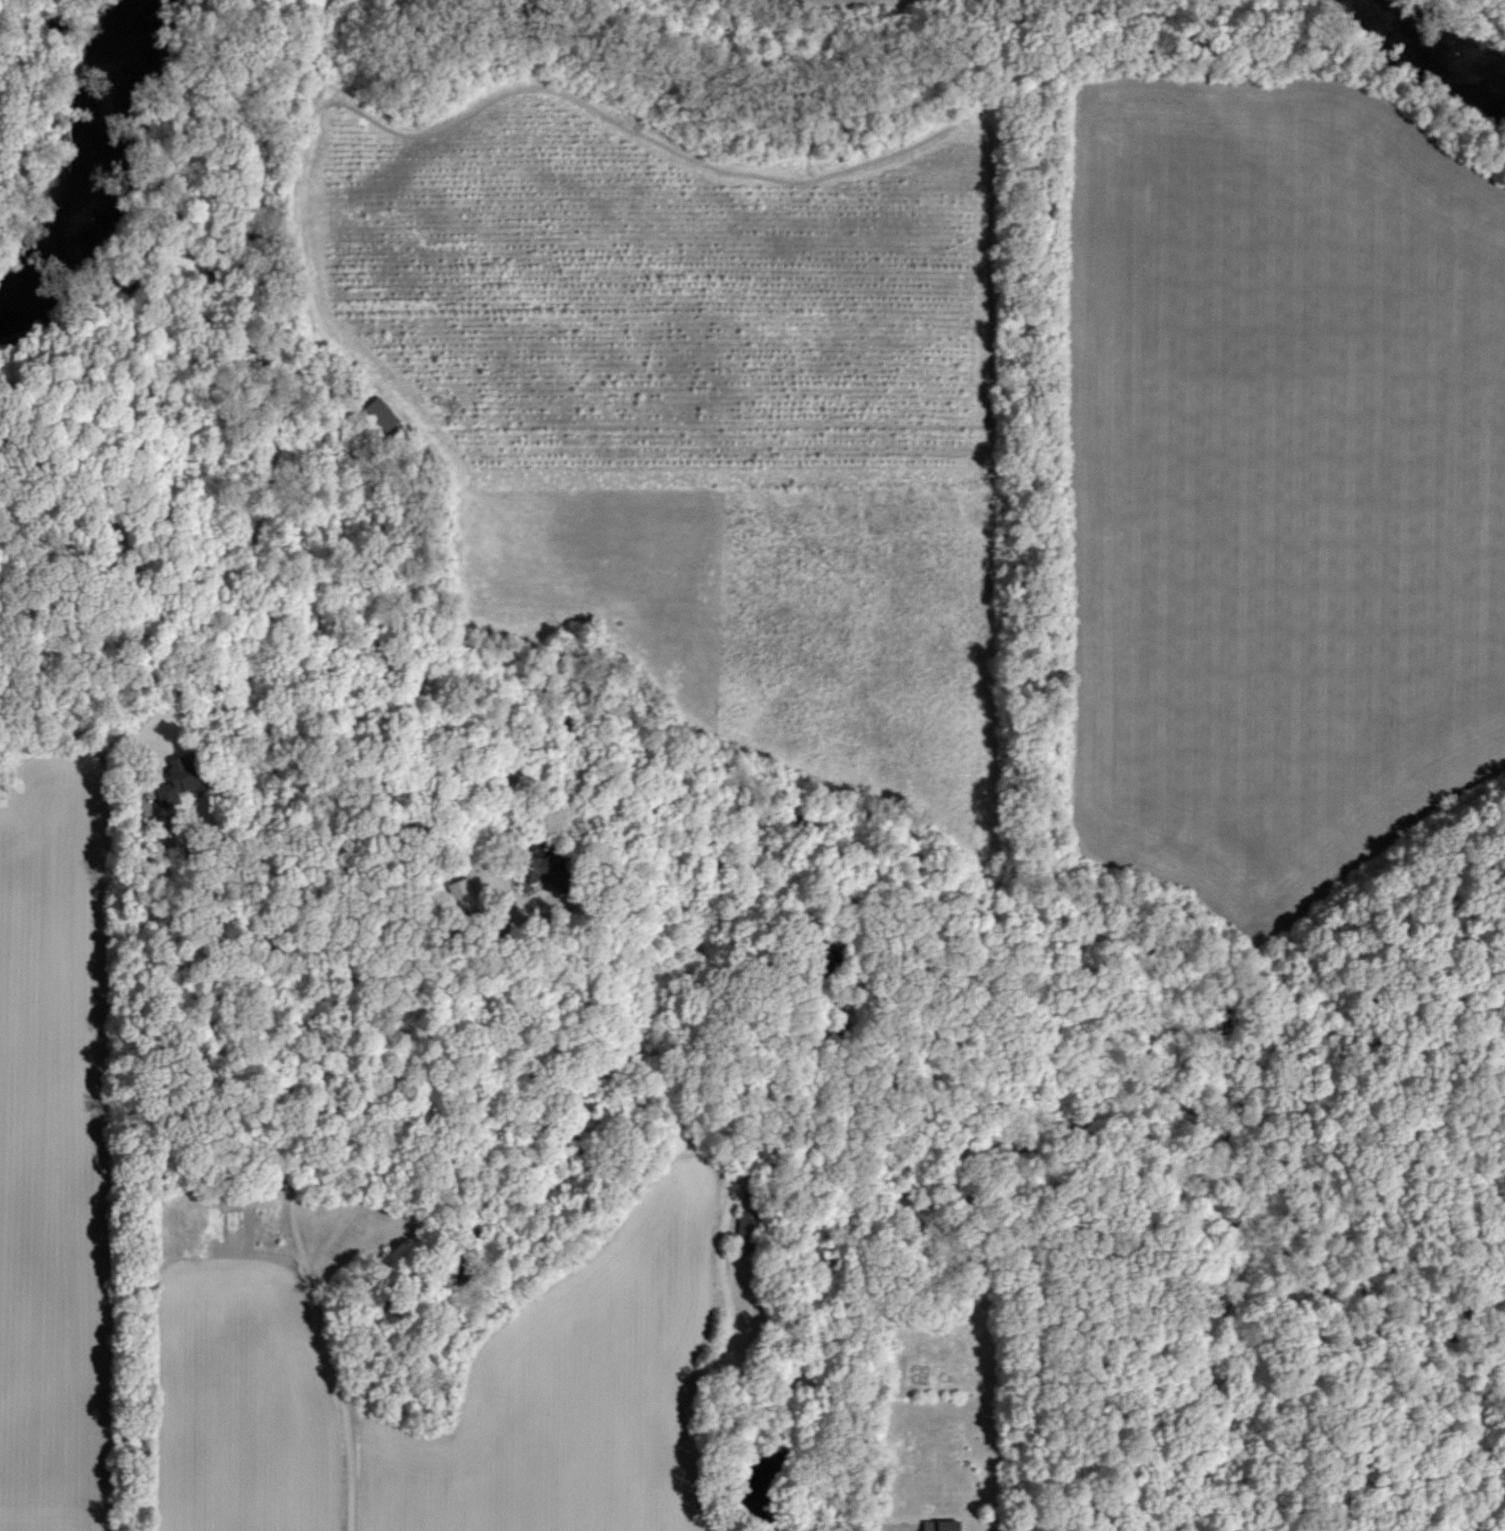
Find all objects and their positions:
river: (1426, 61)
river: (84, 161)
building: (179, 782)
road: (196, 882)
road: (805, 996)
road: (398, 1071)
road: (320, 1078)
road: (721, 1284)
building: (941, 1525)

